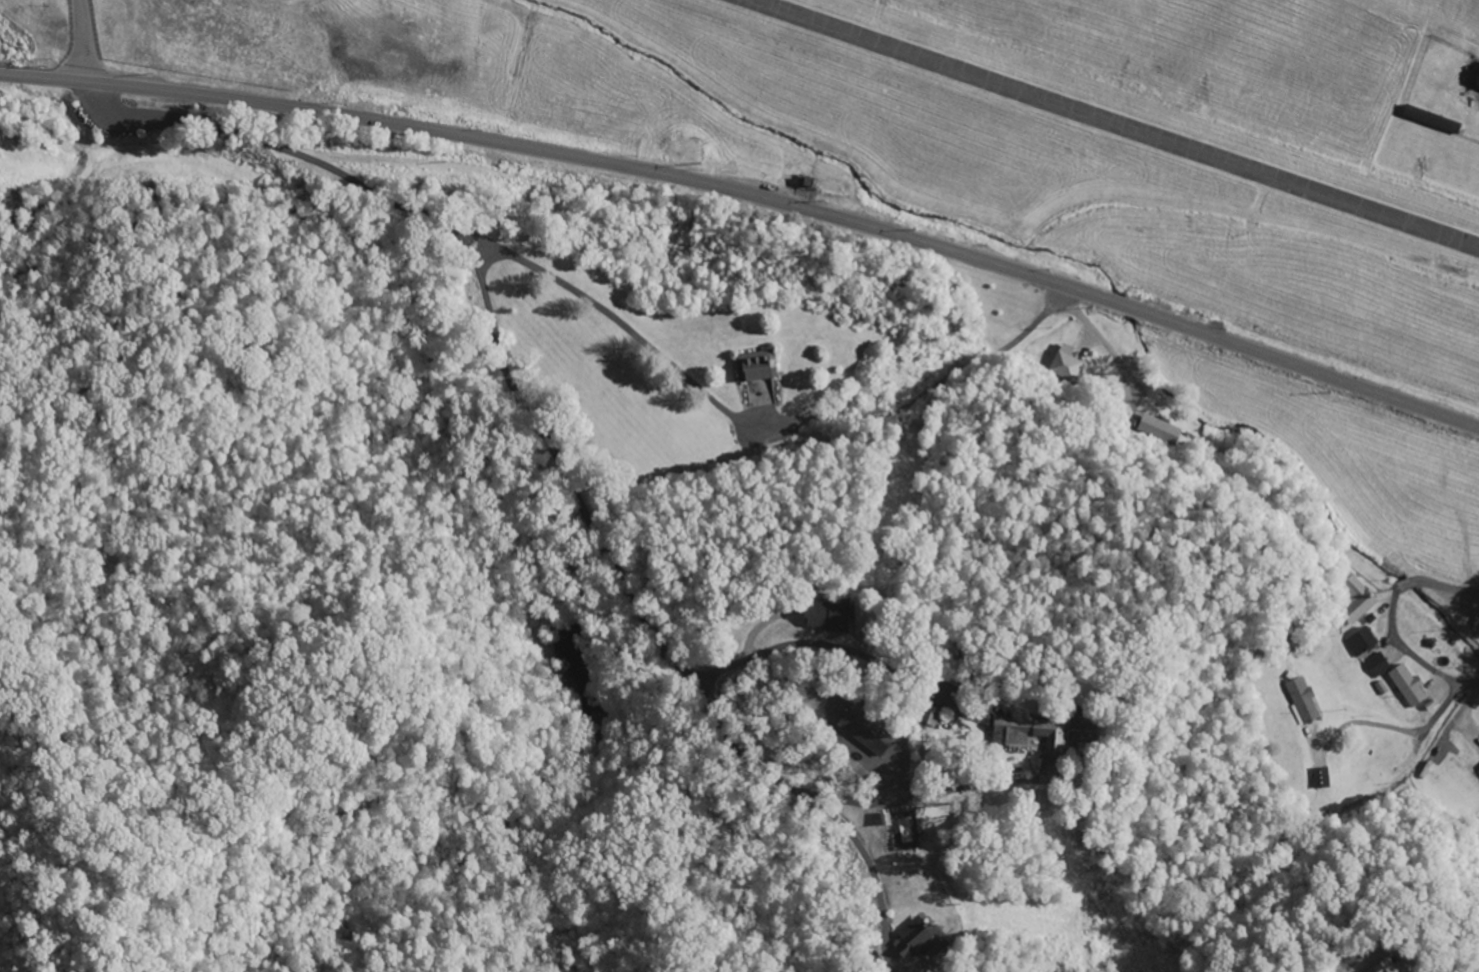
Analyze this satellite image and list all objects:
airport runway: (1111, 125)
road: (752, 195)
building: (1065, 361)
road: (518, 398)
building: (1161, 431)
building: (1357, 600)
road: (1390, 619)
building: (1363, 644)
building: (1378, 667)
building: (1410, 687)
building: (1304, 702)
building: (869, 732)
building: (1032, 736)
building: (1324, 780)
road: (820, 809)
building: (918, 940)
building: (1397, 965)

